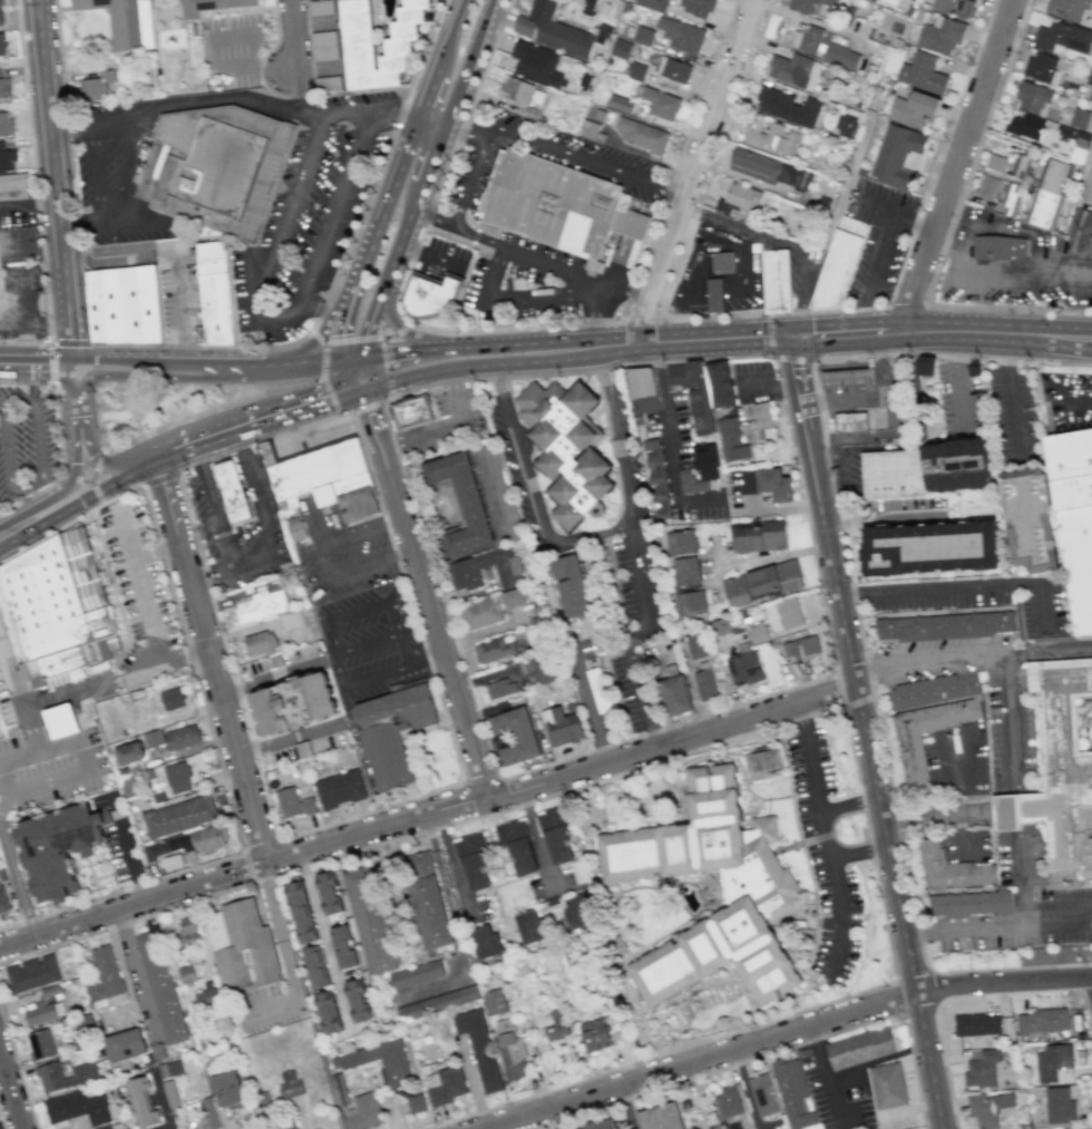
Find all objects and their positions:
building: (653, 4)
building: (808, 4)
building: (209, 6)
building: (320, 7)
building: (587, 7)
building: (696, 7)
building: (954, 7)
building: (1066, 8)
building: (0, 14)
building: (124, 21)
road: (311, 23)
road: (166, 28)
building: (552, 30)
building: (643, 35)
building: (680, 35)
building: (940, 35)
road: (292, 36)
building: (1061, 37)
building: (2, 43)
building: (323, 45)
building: (358, 46)
building: (823, 47)
building: (620, 48)
parking lot: (233, 49)
road: (418, 57)
road: (240, 58)
building: (536, 62)
road: (313, 67)
building: (1041, 67)
building: (673, 69)
building: (636, 70)
building: (794, 70)
road: (271, 71)
building: (922, 72)
road: (70, 76)
building: (1089, 77)
building: (326, 82)
building: (96, 84)
building: (4, 86)
road: (300, 88)
building: (516, 89)
road: (287, 95)
building: (1032, 97)
road: (226, 100)
building: (661, 103)
building: (620, 104)
building: (787, 106)
building: (914, 108)
road: (386, 113)
road: (337, 115)
building: (1079, 118)
road: (419, 119)
building: (6, 124)
building: (846, 126)
building: (1025, 126)
building: (589, 130)
road: (409, 132)
road: (464, 132)
road: (489, 134)
building: (642, 135)
road: (71, 136)
building: (770, 136)
building: (1078, 137)
road: (433, 144)
road: (976, 153)
building: (896, 155)
parking lot: (588, 157)
building: (6, 158)
road: (589, 162)
building: (995, 162)
road: (955, 165)
building: (1018, 165)
building: (764, 167)
building: (222, 169)
road: (71, 172)
road: (696, 173)
parking lot: (118, 181)
road: (55, 182)
building: (989, 183)
road: (1086, 186)
building: (14, 188)
building: (1047, 193)
road: (33, 195)
building: (738, 198)
building: (1010, 198)
road: (460, 203)
building: (558, 204)
road: (104, 206)
road: (897, 213)
parking lot: (309, 218)
road: (109, 222)
road: (478, 222)
road: (354, 223)
road: (448, 234)
road: (474, 235)
road: (476, 236)
parking lot: (877, 236)
parking lot: (224, 239)
road: (782, 243)
building: (1090, 245)
road: (175, 250)
road: (408, 250)
building: (998, 250)
building: (211, 252)
parking lot: (442, 259)
road: (439, 260)
building: (839, 262)
building: (719, 263)
road: (874, 271)
road: (578, 278)
road: (350, 279)
building: (776, 281)
parking lot: (540, 282)
road: (269, 288)
parking lot: (163, 289)
road: (624, 291)
building: (431, 294)
road: (511, 295)
building: (716, 295)
road: (318, 304)
building: (123, 305)
road: (904, 305)
road: (1007, 308)
building: (215, 309)
road: (763, 314)
building: (0, 317)
road: (333, 319)
road: (637, 320)
road: (367, 322)
road: (337, 325)
road: (282, 327)
road: (508, 327)
road: (397, 329)
road: (942, 331)
road: (393, 333)
road: (319, 334)
road: (255, 338)
traffic signals: (792, 339)
road: (352, 340)
road: (518, 341)
road: (68, 343)
road: (696, 343)
road: (172, 344)
road: (283, 344)
road: (409, 350)
road: (862, 351)
road: (831, 353)
road: (371, 354)
traffic signals: (359, 356)
road: (741, 356)
road: (771, 356)
road: (348, 357)
traffic signals: (337, 358)
road: (123, 360)
road: (309, 360)
road: (50, 361)
road: (525, 362)
road: (0, 363)
road: (26, 363)
road: (57, 363)
road: (866, 363)
road: (212, 364)
road: (262, 366)
road: (384, 366)
road: (836, 366)
building: (922, 368)
road: (322, 370)
road: (362, 371)
road: (152, 374)
road: (343, 376)
road: (407, 376)
road: (868, 376)
building: (847, 377)
road: (857, 377)
road: (840, 378)
road: (828, 379)
road: (956, 380)
road: (26, 381)
road: (66, 381)
parking lot: (753, 381)
building: (719, 382)
road: (233, 383)
road: (292, 383)
road: (772, 383)
traffic signals: (367, 388)
road: (802, 390)
road: (869, 390)
road: (358, 391)
building: (642, 391)
road: (857, 391)
road: (1010, 391)
building: (694, 392)
road: (841, 392)
road: (829, 393)
traffic signals: (350, 395)
road: (365, 397)
road: (874, 397)
road: (384, 398)
parking lot: (1067, 399)
road: (358, 400)
gas station: (866, 400)
parking lot: (958, 400)
road: (1079, 400)
road: (372, 402)
road: (18, 403)
road: (1, 405)
road: (146, 406)
park: (154, 406)
road: (358, 408)
road: (881, 409)
building: (412, 412)
building: (761, 416)
road: (369, 417)
parking lot: (1012, 417)
road: (77, 418)
building: (849, 420)
parking lot: (447, 421)
road: (447, 426)
road: (253, 428)
road: (57, 429)
road: (615, 430)
road: (315, 432)
parking lot: (312, 435)
building: (730, 439)
parking lot: (26, 440)
road: (667, 441)
road: (876, 447)
building: (567, 448)
road: (827, 449)
parking lot: (681, 459)
building: (705, 459)
road: (104, 464)
road: (148, 465)
parking lot: (847, 470)
road: (181, 474)
building: (894, 474)
building: (322, 476)
road: (160, 477)
road: (90, 478)
building: (655, 478)
road: (842, 479)
building: (690, 481)
building: (774, 484)
road: (259, 488)
road: (21, 489)
road: (96, 491)
road: (58, 493)
road: (121, 493)
road: (31, 494)
building: (234, 494)
parking lot: (747, 494)
road: (532, 495)
road: (252, 496)
road: (76, 500)
building: (458, 503)
road: (771, 506)
road: (222, 507)
parking lot: (208, 513)
building: (1073, 517)
building: (1028, 518)
road: (96, 526)
road: (4, 531)
road: (51, 531)
building: (295, 531)
building: (759, 536)
building: (680, 542)
road: (101, 544)
building: (930, 547)
road: (156, 552)
parking lot: (340, 552)
road: (103, 555)
road: (836, 562)
road: (319, 564)
road: (235, 570)
building: (686, 571)
building: (462, 573)
building: (773, 577)
parking lot: (638, 578)
building: (571, 585)
road: (437, 587)
road: (142, 591)
building: (735, 591)
road: (961, 591)
parking lot: (138, 597)
parking lot: (976, 600)
building: (690, 603)
building: (261, 605)
road: (855, 606)
building: (489, 607)
building: (57, 610)
building: (536, 610)
building: (788, 612)
road: (120, 613)
road: (429, 613)
building: (946, 627)
road: (332, 632)
road: (641, 632)
parking lot: (370, 640)
building: (260, 643)
road: (367, 644)
building: (698, 645)
building: (800, 646)
building: (495, 649)
road: (1052, 652)
road: (423, 654)
road: (186, 659)
road: (213, 660)
road: (933, 660)
building: (275, 661)
road: (194, 669)
building: (542, 669)
road: (271, 677)
road: (101, 683)
building: (704, 684)
building: (499, 687)
road: (333, 690)
building: (597, 690)
road: (836, 691)
building: (675, 694)
road: (60, 698)
building: (170, 698)
road: (856, 702)
building: (293, 703)
road: (586, 703)
road: (79, 717)
building: (928, 718)
building: (60, 720)
building: (560, 726)
road: (663, 727)
building: (393, 730)
building: (515, 734)
building: (182, 737)
road: (287, 737)
building: (154, 738)
parking lot: (40, 747)
building: (302, 749)
building: (129, 752)
road: (808, 759)
parking lot: (955, 759)
road: (1, 763)
building: (1061, 766)
building: (763, 767)
building: (176, 776)
road: (478, 777)
road: (954, 781)
road: (38, 787)
building: (339, 788)
road: (1018, 790)
building: (293, 802)
road: (848, 807)
road: (428, 814)
road: (952, 814)
building: (178, 816)
road: (419, 830)
road: (957, 834)
building: (555, 836)
building: (208, 837)
road: (536, 839)
road: (868, 843)
building: (167, 846)
building: (517, 846)
building: (58, 847)
road: (127, 849)
road: (860, 853)
parking lot: (822, 854)
building: (173, 860)
building: (472, 860)
road: (246, 866)
building: (950, 868)
road: (119, 890)
building: (329, 893)
building: (714, 896)
road: (837, 897)
building: (3, 901)
building: (427, 901)
road: (257, 903)
building: (969, 903)
road: (900, 905)
building: (301, 912)
building: (577, 912)
building: (373, 921)
road: (1059, 923)
building: (530, 927)
building: (188, 930)
road: (279, 930)
road: (966, 930)
road: (323, 940)
building: (485, 942)
building: (243, 945)
building: (343, 946)
building: (315, 966)
building: (32, 973)
building: (186, 973)
building: (416, 974)
road: (1091, 976)
building: (105, 979)
building: (160, 986)
road: (934, 987)
building: (50, 990)
building: (206, 995)
building: (358, 1000)
road: (306, 1001)
building: (494, 1001)
building: (437, 1002)
road: (270, 1003)
parking lot: (267, 1005)
building: (45, 1012)
building: (329, 1012)
building: (1041, 1021)
building: (556, 1024)
building: (976, 1024)
road: (938, 1033)
building: (595, 1034)
road: (783, 1034)
building: (40, 1043)
building: (125, 1044)
building: (479, 1048)
building: (860, 1049)
building: (509, 1050)
road: (770, 1051)
road: (659, 1054)
building: (1054, 1063)
building: (384, 1068)
road: (18, 1069)
building: (169, 1069)
building: (981, 1069)
building: (82, 1076)
road: (818, 1077)
building: (290, 1084)
building: (443, 1084)
building: (888, 1086)
building: (227, 1089)
road: (11, 1090)
building: (793, 1092)
building: (763, 1094)
road: (700, 1096)
building: (142, 1101)
road: (163, 1101)
building: (727, 1102)
building: (1059, 1106)
building: (77, 1108)
building: (988, 1109)
building: (363, 1112)
road: (559, 1117)
building: (660, 1117)
road: (1, 1121)
building: (248, 1125)
building: (599, 1125)
building: (286, 1126)
building: (732, 1126)
building: (126, 1128)
building: (1089, 1128)

